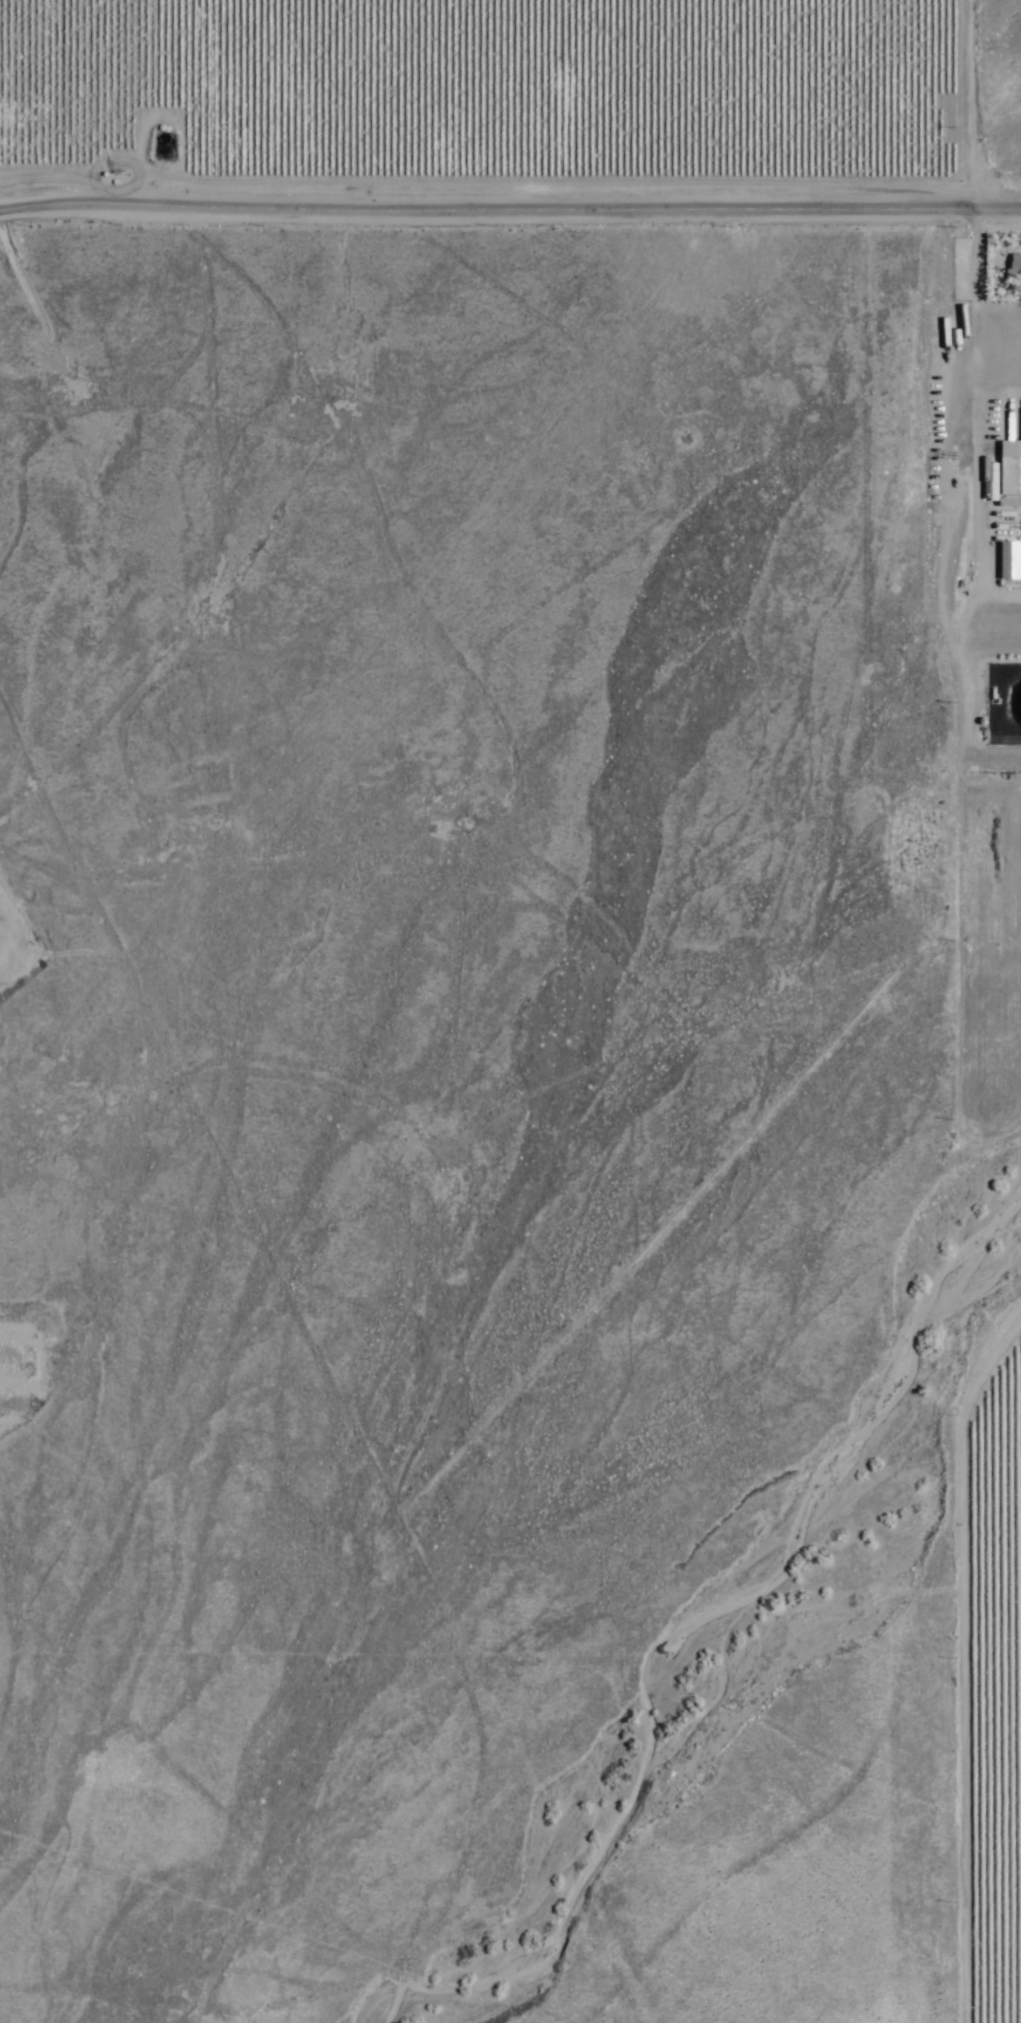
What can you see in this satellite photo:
crop: (475, 81)
road: (7, 205)
road: (510, 210)
building: (1013, 266)
road: (973, 354)
building: (1009, 469)
building: (1008, 561)
wastewater plant: (1007, 721)
road: (927, 1633)
crop: (991, 1676)

